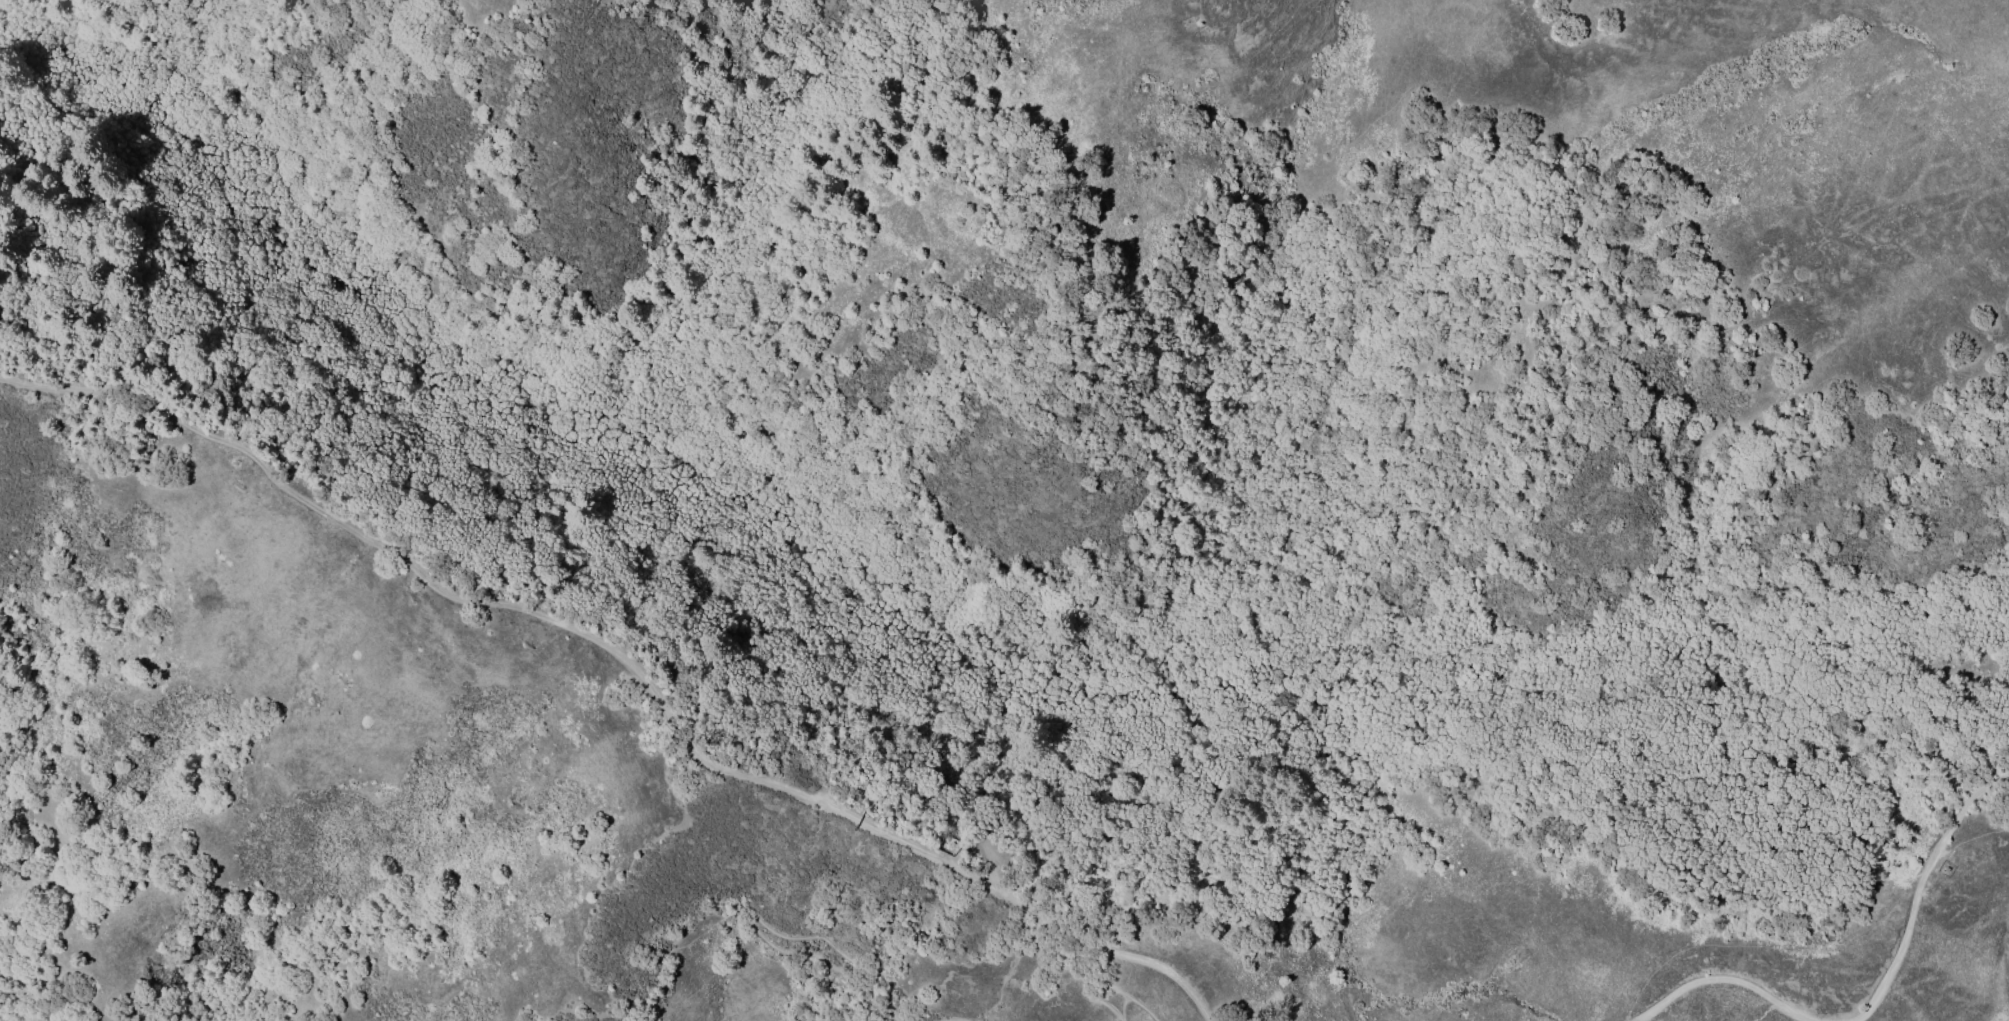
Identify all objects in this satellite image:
road: (622, 675)
road: (1943, 835)
road: (759, 922)
road: (1888, 975)
road: (1724, 979)
road: (1098, 981)
road: (955, 1020)

